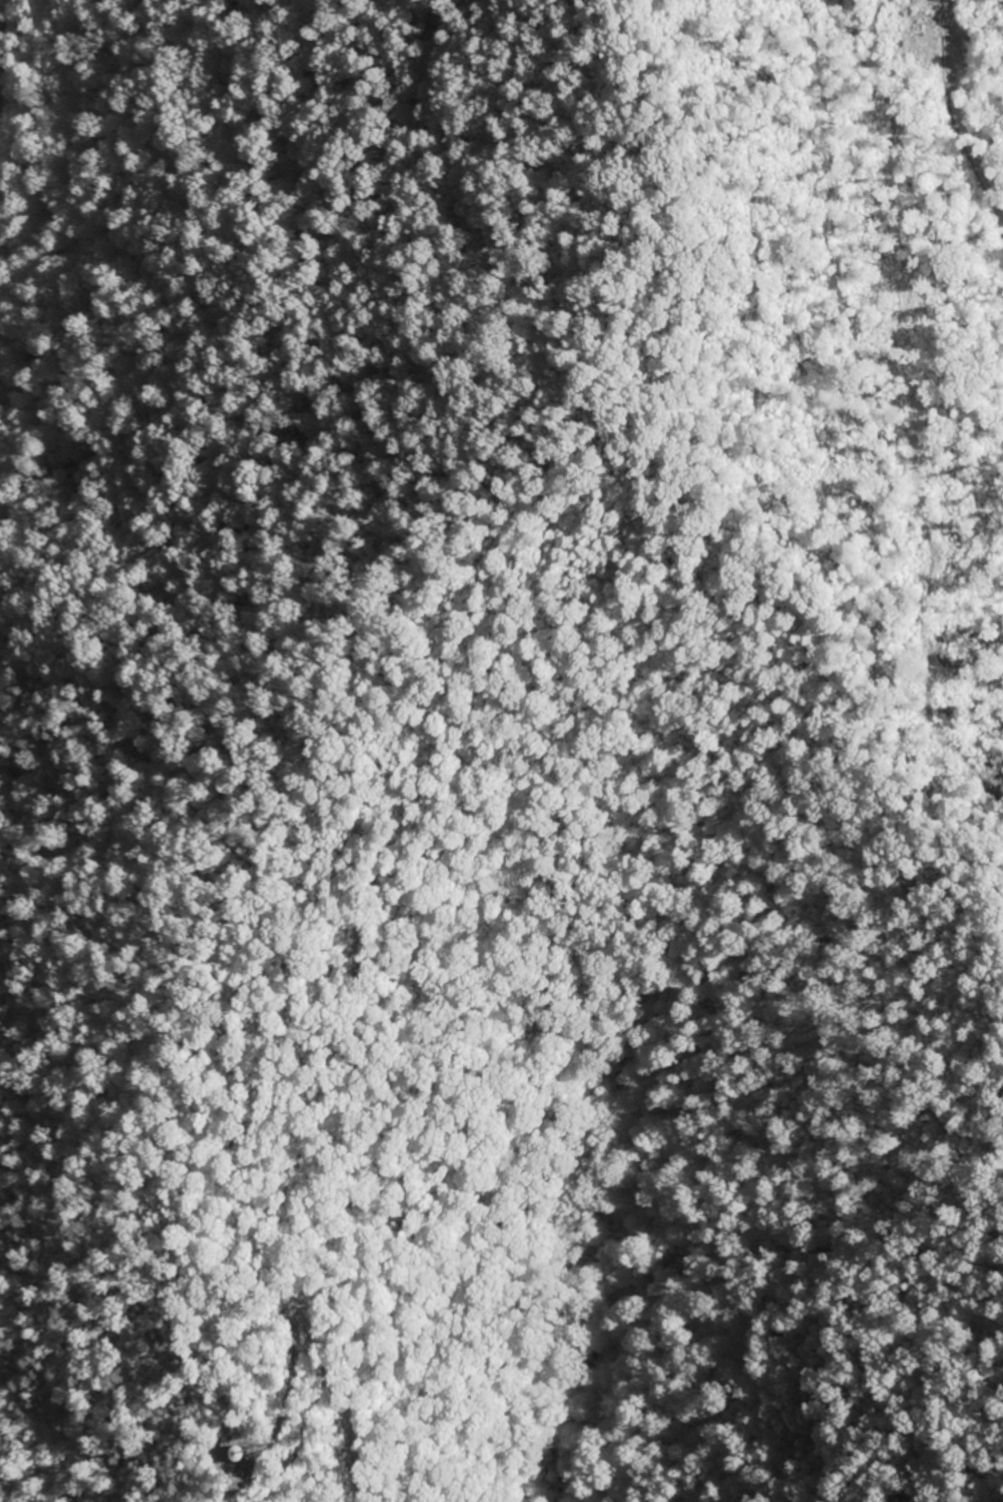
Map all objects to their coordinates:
building: (251, 1455)

